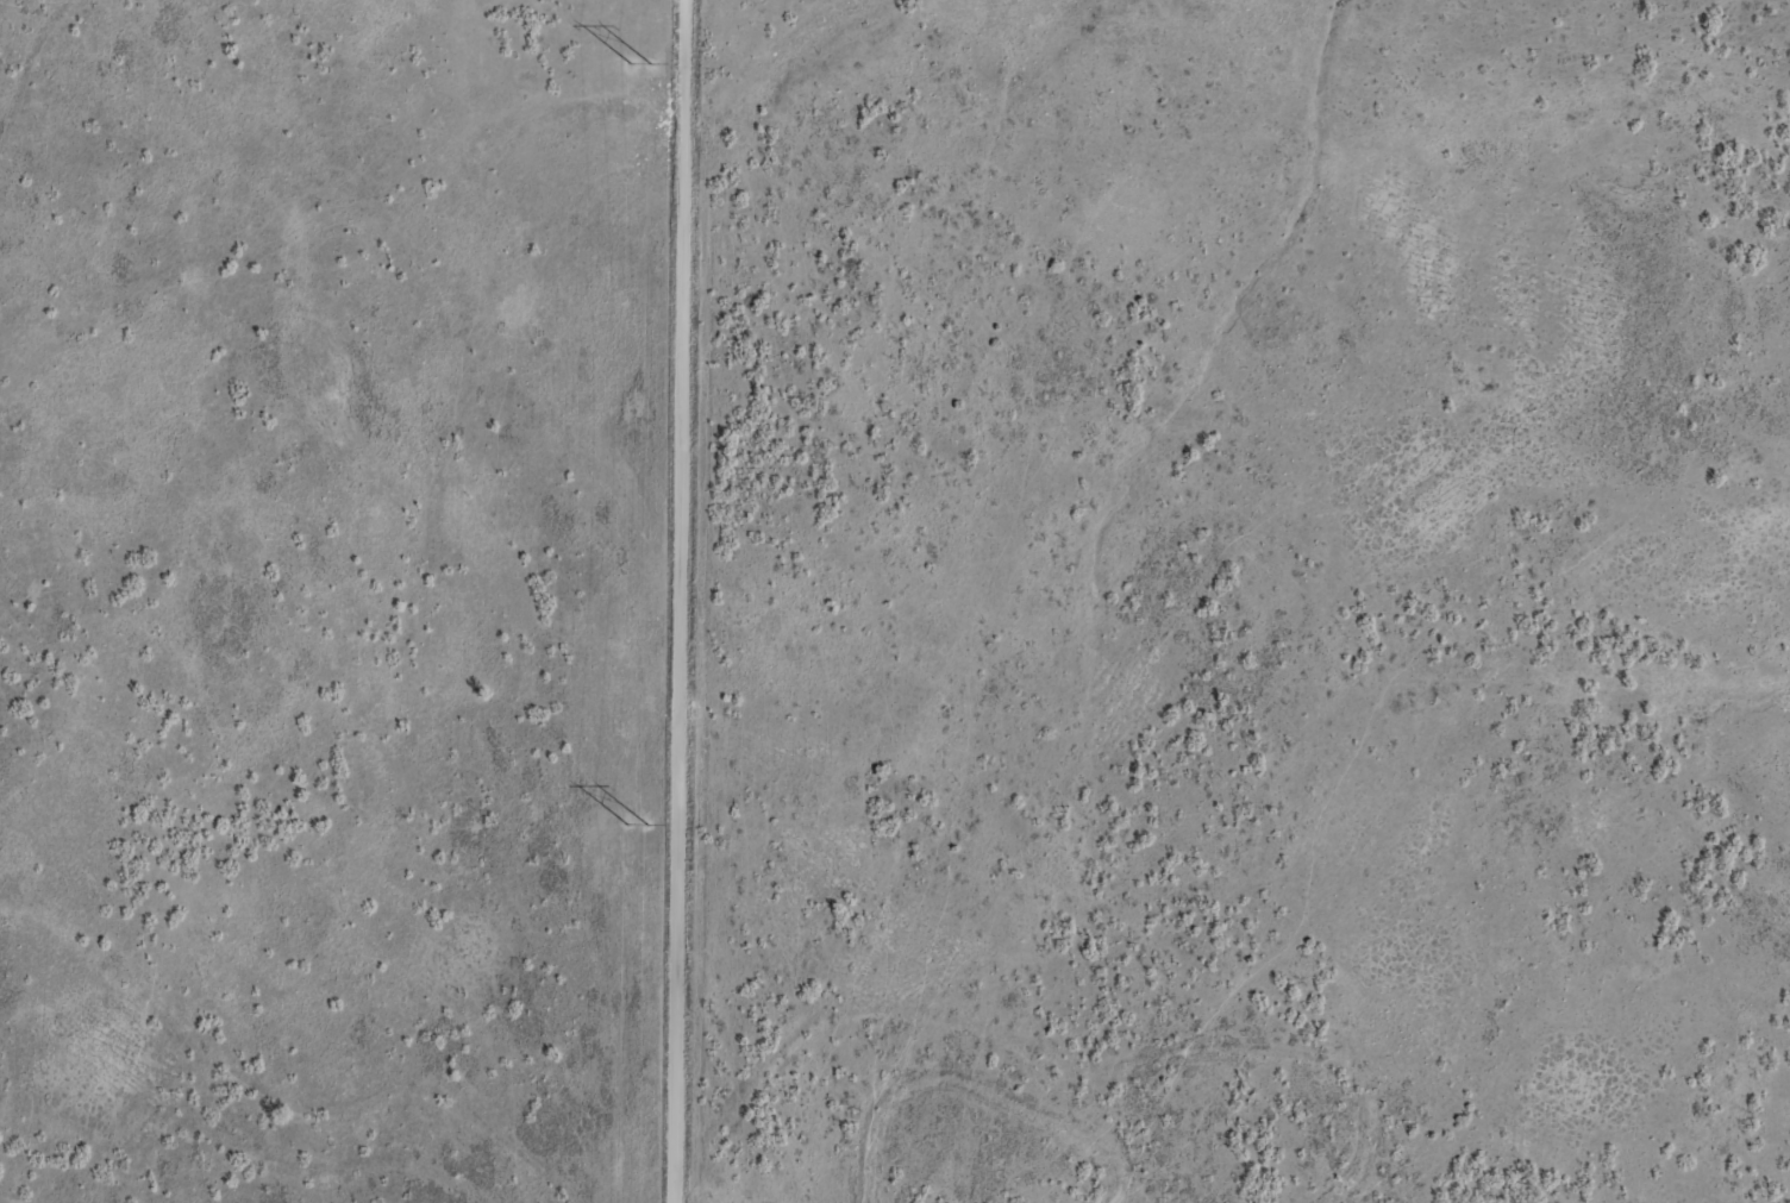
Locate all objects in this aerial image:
power tower: (639, 65)
road: (687, 601)
power tower: (637, 828)

